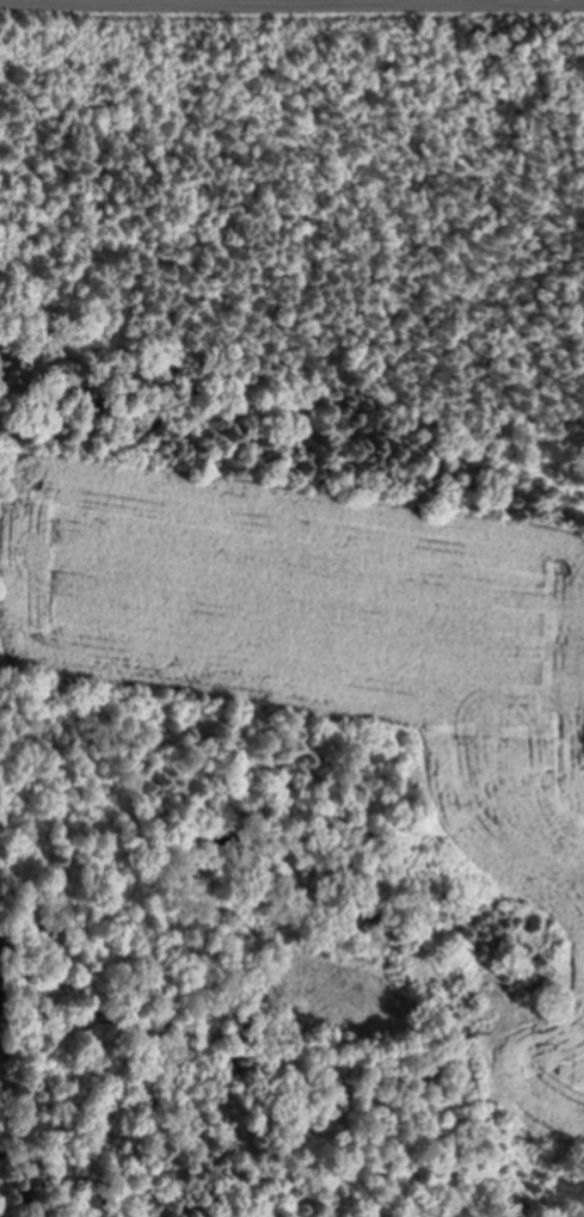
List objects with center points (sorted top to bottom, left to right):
road: (217, 0)

